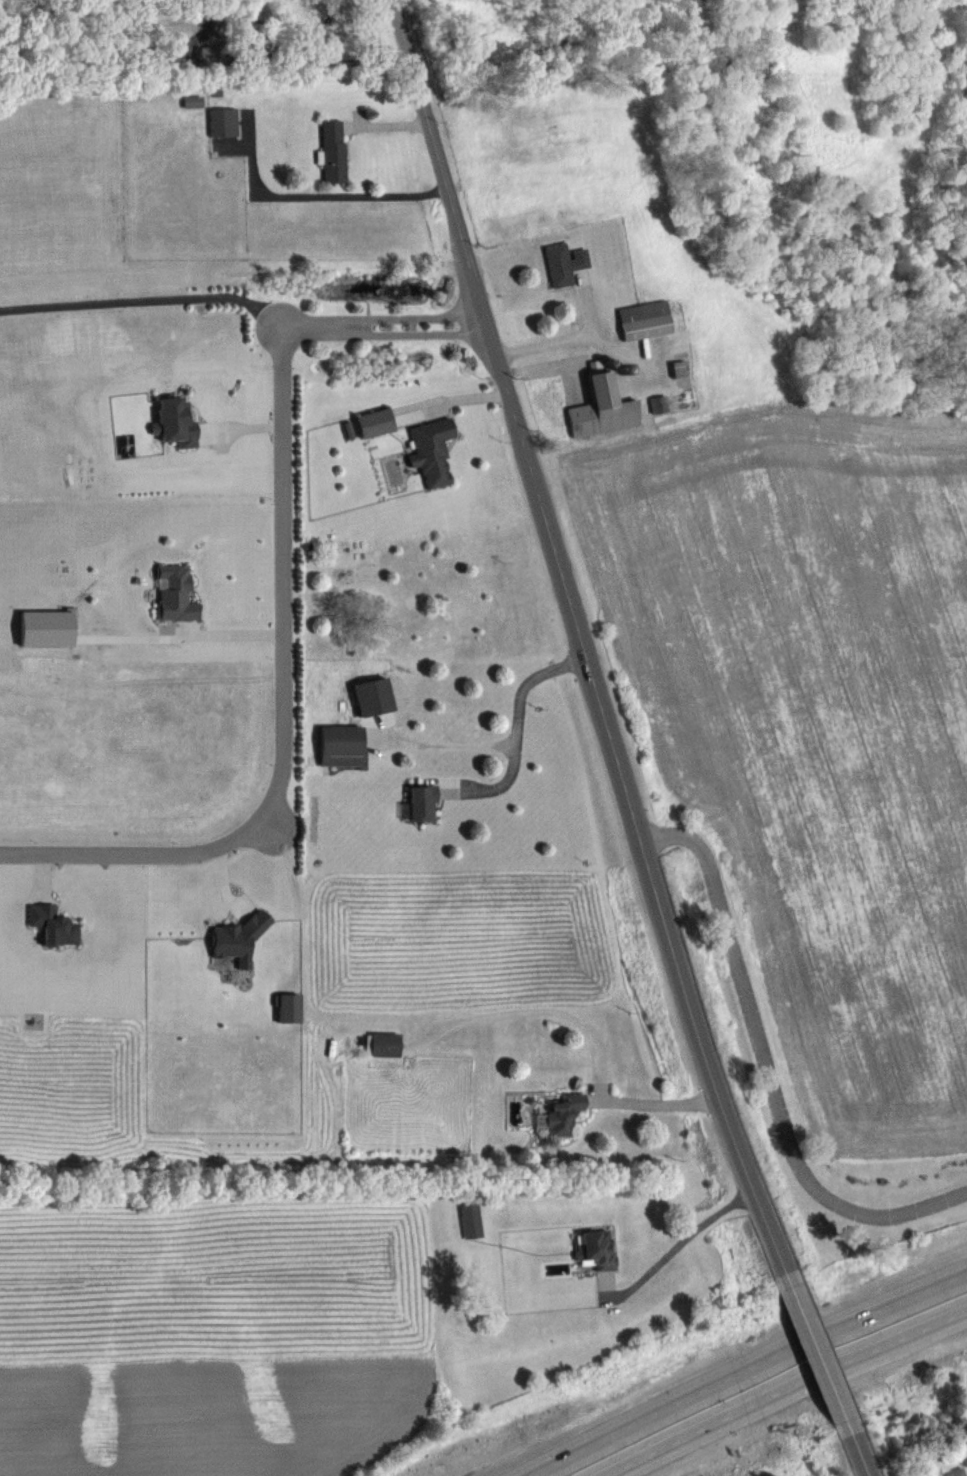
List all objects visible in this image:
building: (324, 24)
building: (216, 51)
building: (222, 120)
building: (332, 151)
road: (321, 200)
building: (563, 263)
road: (146, 296)
road: (418, 318)
building: (645, 319)
road: (420, 334)
road: (571, 340)
building: (658, 403)
building: (602, 405)
building: (374, 422)
building: (431, 450)
building: (175, 594)
road: (231, 636)
road: (580, 639)
road: (284, 676)
road: (512, 737)
building: (350, 757)
building: (421, 803)
building: (52, 924)
building: (381, 1043)
road: (764, 1071)
road: (657, 1103)
building: (559, 1115)
building: (470, 1220)
road: (680, 1243)
building: (595, 1247)
road: (823, 1355)
road: (748, 1371)
road: (786, 1391)
road: (864, 1457)
building: (955, 1472)

